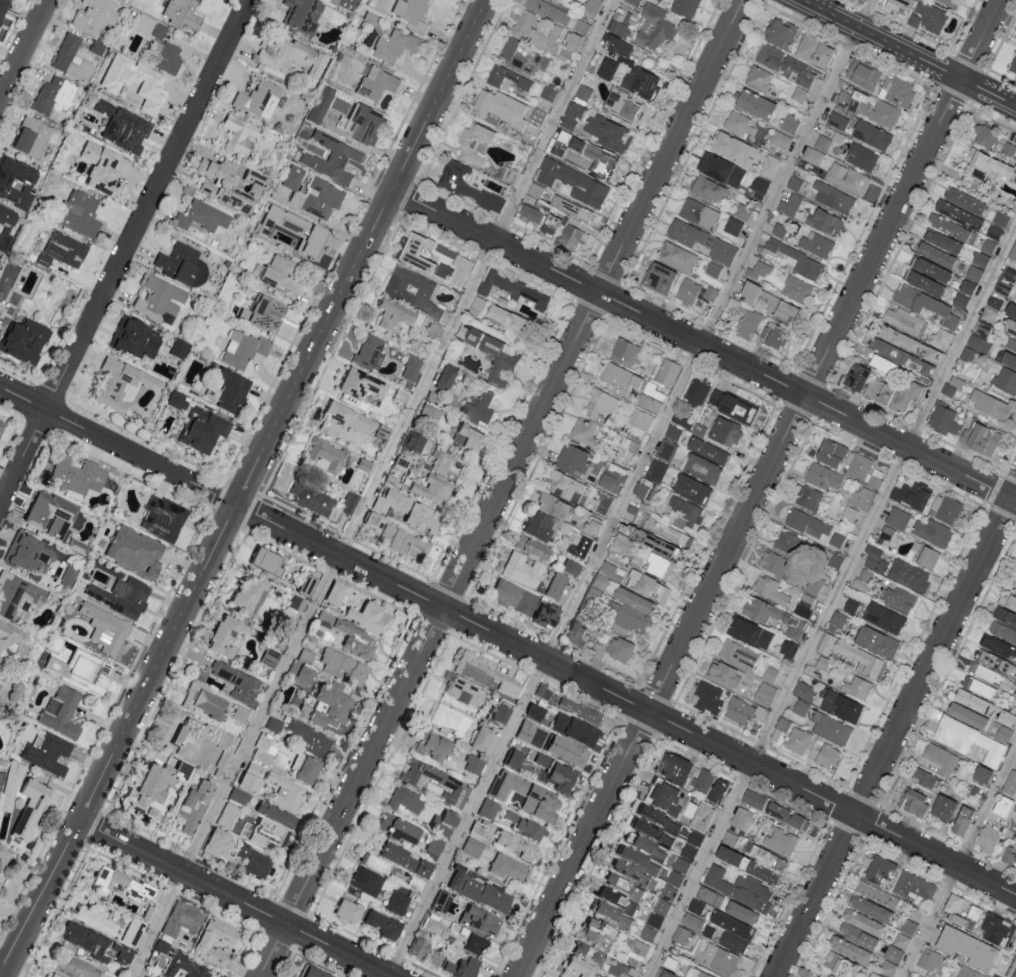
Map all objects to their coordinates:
building: (631, 2)
building: (343, 3)
building: (951, 3)
building: (899, 5)
building: (2, 6)
building: (592, 6)
building: (684, 7)
building: (549, 10)
building: (181, 13)
building: (411, 13)
building: (300, 16)
building: (93, 17)
building: (928, 17)
building: (621, 22)
building: (581, 25)
building: (653, 26)
building: (781, 31)
building: (537, 32)
building: (571, 41)
building: (158, 45)
building: (617, 45)
building: (393, 46)
road: (24, 50)
building: (814, 50)
road: (910, 53)
building: (521, 56)
building: (288, 58)
building: (71, 59)
building: (782, 63)
building: (1013, 64)
building: (607, 67)
building: (863, 74)
building: (758, 78)
building: (133, 82)
building: (640, 82)
building: (376, 83)
building: (897, 91)
building: (583, 92)
building: (799, 93)
building: (54, 96)
building: (258, 100)
building: (753, 103)
building: (620, 104)
building: (318, 105)
building: (500, 107)
building: (869, 107)
building: (572, 114)
building: (537, 116)
building: (837, 120)
building: (739, 123)
building: (789, 123)
building: (363, 125)
building: (121, 129)
building: (869, 133)
building: (609, 134)
building: (984, 135)
building: (238, 136)
building: (33, 137)
building: (780, 139)
building: (558, 141)
building: (822, 142)
building: (473, 143)
building: (733, 148)
building: (1007, 149)
building: (812, 155)
building: (861, 156)
building: (330, 158)
building: (600, 159)
building: (984, 165)
building: (1015, 165)
building: (769, 166)
building: (100, 169)
building: (720, 169)
building: (293, 177)
building: (846, 178)
building: (573, 182)
building: (15, 183)
building: (467, 185)
building: (228, 186)
building: (708, 189)
building: (758, 189)
building: (833, 197)
building: (964, 201)
building: (789, 204)
building: (571, 208)
building: (742, 211)
building: (698, 213)
building: (77, 214)
building: (531, 214)
building: (958, 214)
building: (201, 217)
building: (823, 221)
building: (550, 225)
building: (732, 225)
building: (951, 227)
building: (5, 228)
building: (779, 229)
building: (294, 231)
building: (574, 237)
building: (702, 240)
building: (942, 241)
building: (816, 244)
building: (60, 251)
building: (1012, 251)
building: (416, 252)
road: (126, 254)
building: (935, 254)
building: (676, 257)
building: (797, 260)
building: (181, 265)
building: (761, 268)
building: (713, 269)
building: (930, 269)
building: (459, 270)
building: (974, 272)
building: (277, 277)
building: (658, 278)
building: (924, 283)
building: (967, 286)
building: (796, 288)
building: (512, 289)
building: (412, 290)
building: (687, 291)
building: (749, 291)
building: (705, 295)
building: (960, 299)
building: (159, 301)
building: (994, 302)
building: (928, 305)
building: (1011, 311)
building: (786, 312)
building: (988, 314)
building: (390, 315)
building: (263, 316)
building: (508, 320)
building: (903, 320)
building: (746, 323)
building: (1010, 327)
building: (982, 329)
building: (472, 336)
building: (776, 337)
building: (940, 338)
building: (133, 340)
building: (21, 341)
building: (1010, 342)
building: (908, 343)
building: (978, 343)
road: (702, 346)
building: (178, 349)
building: (240, 350)
building: (624, 350)
building: (888, 350)
building: (368, 353)
building: (967, 354)
building: (1008, 360)
building: (498, 361)
building: (882, 364)
building: (923, 365)
building: (410, 369)
building: (667, 371)
building: (620, 376)
building: (855, 376)
building: (445, 378)
building: (1005, 380)
building: (119, 385)
building: (357, 386)
building: (228, 391)
building: (696, 391)
building: (878, 391)
building: (906, 395)
building: (400, 396)
building: (651, 396)
building: (176, 400)
building: (601, 402)
building: (731, 404)
building: (989, 405)
building: (478, 407)
building: (428, 414)
building: (640, 419)
building: (943, 420)
building: (1, 421)
building: (342, 421)
building: (724, 430)
building: (199, 431)
building: (584, 431)
building: (468, 436)
building: (977, 437)
building: (413, 441)
building: (620, 447)
building: (666, 448)
building: (706, 449)
building: (830, 451)
building: (324, 456)
building: (574, 459)
building: (398, 463)
building: (440, 463)
building: (701, 467)
building: (655, 469)
building: (863, 469)
building: (823, 475)
building: (74, 476)
building: (612, 477)
road: (242, 483)
building: (568, 486)
building: (691, 487)
road: (503, 488)
road: (630, 488)
building: (639, 488)
road: (762, 488)
road: (373, 489)
building: (431, 489)
building: (912, 494)
building: (808, 496)
building: (862, 497)
building: (310, 499)
building: (348, 501)
building: (936, 502)
building: (552, 504)
building: (603, 504)
building: (949, 509)
building: (407, 510)
building: (685, 511)
building: (849, 512)
building: (32, 514)
building: (897, 517)
building: (161, 518)
building: (368, 519)
building: (807, 522)
building: (536, 525)
building: (665, 529)
building: (933, 531)
building: (887, 532)
building: (785, 540)
building: (401, 542)
building: (624, 543)
building: (660, 544)
building: (579, 545)
building: (76, 546)
building: (530, 547)
building: (132, 551)
building: (28, 554)
building: (926, 555)
building: (831, 558)
building: (874, 558)
building: (775, 562)
building: (660, 565)
building: (570, 567)
building: (521, 569)
building: (609, 570)
building: (909, 574)
building: (1013, 577)
building: (863, 578)
building: (598, 581)
building: (814, 583)
building: (647, 584)
building: (303, 585)
building: (553, 585)
building: (769, 588)
building: (244, 592)
building: (333, 592)
building: (16, 594)
building: (119, 596)
building: (512, 597)
building: (898, 597)
building: (633, 599)
building: (1007, 600)
building: (294, 604)
building: (804, 604)
road: (832, 605)
building: (542, 615)
building: (774, 615)
building: (367, 617)
building: (883, 617)
building: (627, 618)
building: (836, 620)
building: (104, 628)
building: (1002, 630)
building: (749, 631)
building: (7, 632)
building: (219, 633)
building: (574, 633)
building: (349, 637)
building: (876, 640)
road: (506, 643)
building: (999, 646)
building: (618, 647)
building: (787, 648)
building: (597, 650)
building: (738, 653)
building: (852, 654)
building: (305, 656)
building: (268, 657)
building: (996, 661)
building: (342, 667)
building: (82, 671)
building: (769, 673)
building: (988, 673)
building: (300, 675)
building: (483, 675)
building: (726, 675)
building: (236, 683)
building: (978, 686)
building: (857, 687)
building: (804, 690)
building: (463, 692)
building: (541, 692)
building: (765, 693)
building: (707, 697)
building: (970, 699)
building: (201, 701)
building: (1015, 701)
building: (326, 705)
building: (841, 705)
building: (800, 706)
building: (578, 710)
building: (740, 710)
building: (301, 711)
building: (60, 712)
building: (532, 712)
building: (495, 713)
building: (239, 714)
building: (966, 714)
building: (1006, 717)
building: (448, 720)
building: (783, 723)
building: (272, 724)
building: (831, 727)
building: (570, 728)
building: (524, 731)
building: (951, 731)
building: (1004, 732)
building: (478, 738)
road: (898, 738)
building: (309, 739)
building: (798, 739)
building: (429, 746)
building: (984, 750)
building: (184, 751)
building: (263, 751)
building: (563, 751)
building: (46, 754)
building: (824, 755)
building: (939, 758)
building: (511, 759)
building: (473, 766)
building: (674, 767)
building: (302, 768)
building: (981, 773)
building: (553, 774)
building: (418, 775)
building: (248, 777)
building: (924, 777)
building: (702, 779)
building: (0, 780)
building: (156, 781)
building: (1010, 782)
building: (717, 790)
building: (285, 792)
building: (452, 793)
building: (238, 796)
building: (525, 796)
building: (662, 797)
building: (753, 798)
building: (404, 800)
building: (913, 801)
building: (1003, 805)
building: (192, 806)
building: (29, 807)
building: (942, 807)
building: (486, 810)
building: (272, 814)
building: (226, 815)
building: (786, 815)
building: (701, 816)
building: (741, 817)
building: (656, 819)
building: (962, 820)
building: (441, 822)
building: (524, 827)
building: (395, 828)
building: (476, 829)
building: (261, 832)
building: (650, 832)
building: (727, 837)
building: (987, 837)
building: (779, 840)
building: (692, 843)
building: (217, 844)
building: (433, 845)
building: (512, 845)
building: (643, 846)
building: (471, 847)
building: (391, 854)
building: (767, 856)
building: (1015, 856)
building: (636, 859)
road: (959, 861)
building: (253, 862)
building: (373, 864)
building: (681, 864)
building: (746, 864)
building: (415, 866)
building: (506, 867)
building: (881, 870)
building: (632, 874)
building: (674, 878)
building: (105, 880)
building: (365, 881)
building: (414, 883)
building: (621, 885)
building: (913, 885)
building: (739, 887)
building: (478, 892)
building: (668, 892)
building: (877, 894)
building: (709, 895)
road: (233, 897)
building: (615, 900)
building: (396, 903)
building: (953, 904)
building: (662, 905)
building: (695, 905)
building: (870, 907)
building: (344, 910)
building: (974, 911)
building: (741, 912)
building: (146, 913)
building: (915, 913)
building: (610, 914)
building: (92, 918)
building: (181, 919)
building: (654, 919)
building: (691, 920)
building: (478, 921)
building: (863, 921)
building: (731, 923)
building: (380, 925)
building: (997, 928)
building: (595, 931)
building: (132, 932)
building: (648, 932)
building: (680, 934)
building: (857, 935)
building: (901, 940)
building: (733, 941)
building: (93, 944)
building: (203, 944)
building: (475, 945)
building: (966, 947)
building: (416, 948)
building: (636, 948)
building: (849, 948)
building: (586, 954)
building: (434, 958)
building: (720, 958)
building: (928, 958)
road: (2, 960)
building: (891, 960)
building: (670, 962)
building: (839, 964)
building: (73, 967)
building: (576, 967)
building: (460, 968)
building: (180, 969)
building: (311, 972)
building: (696, 972)
building: (969, 972)
building: (666, 974)
building: (874, 974)
building: (49, 975)
building: (816, 976)

